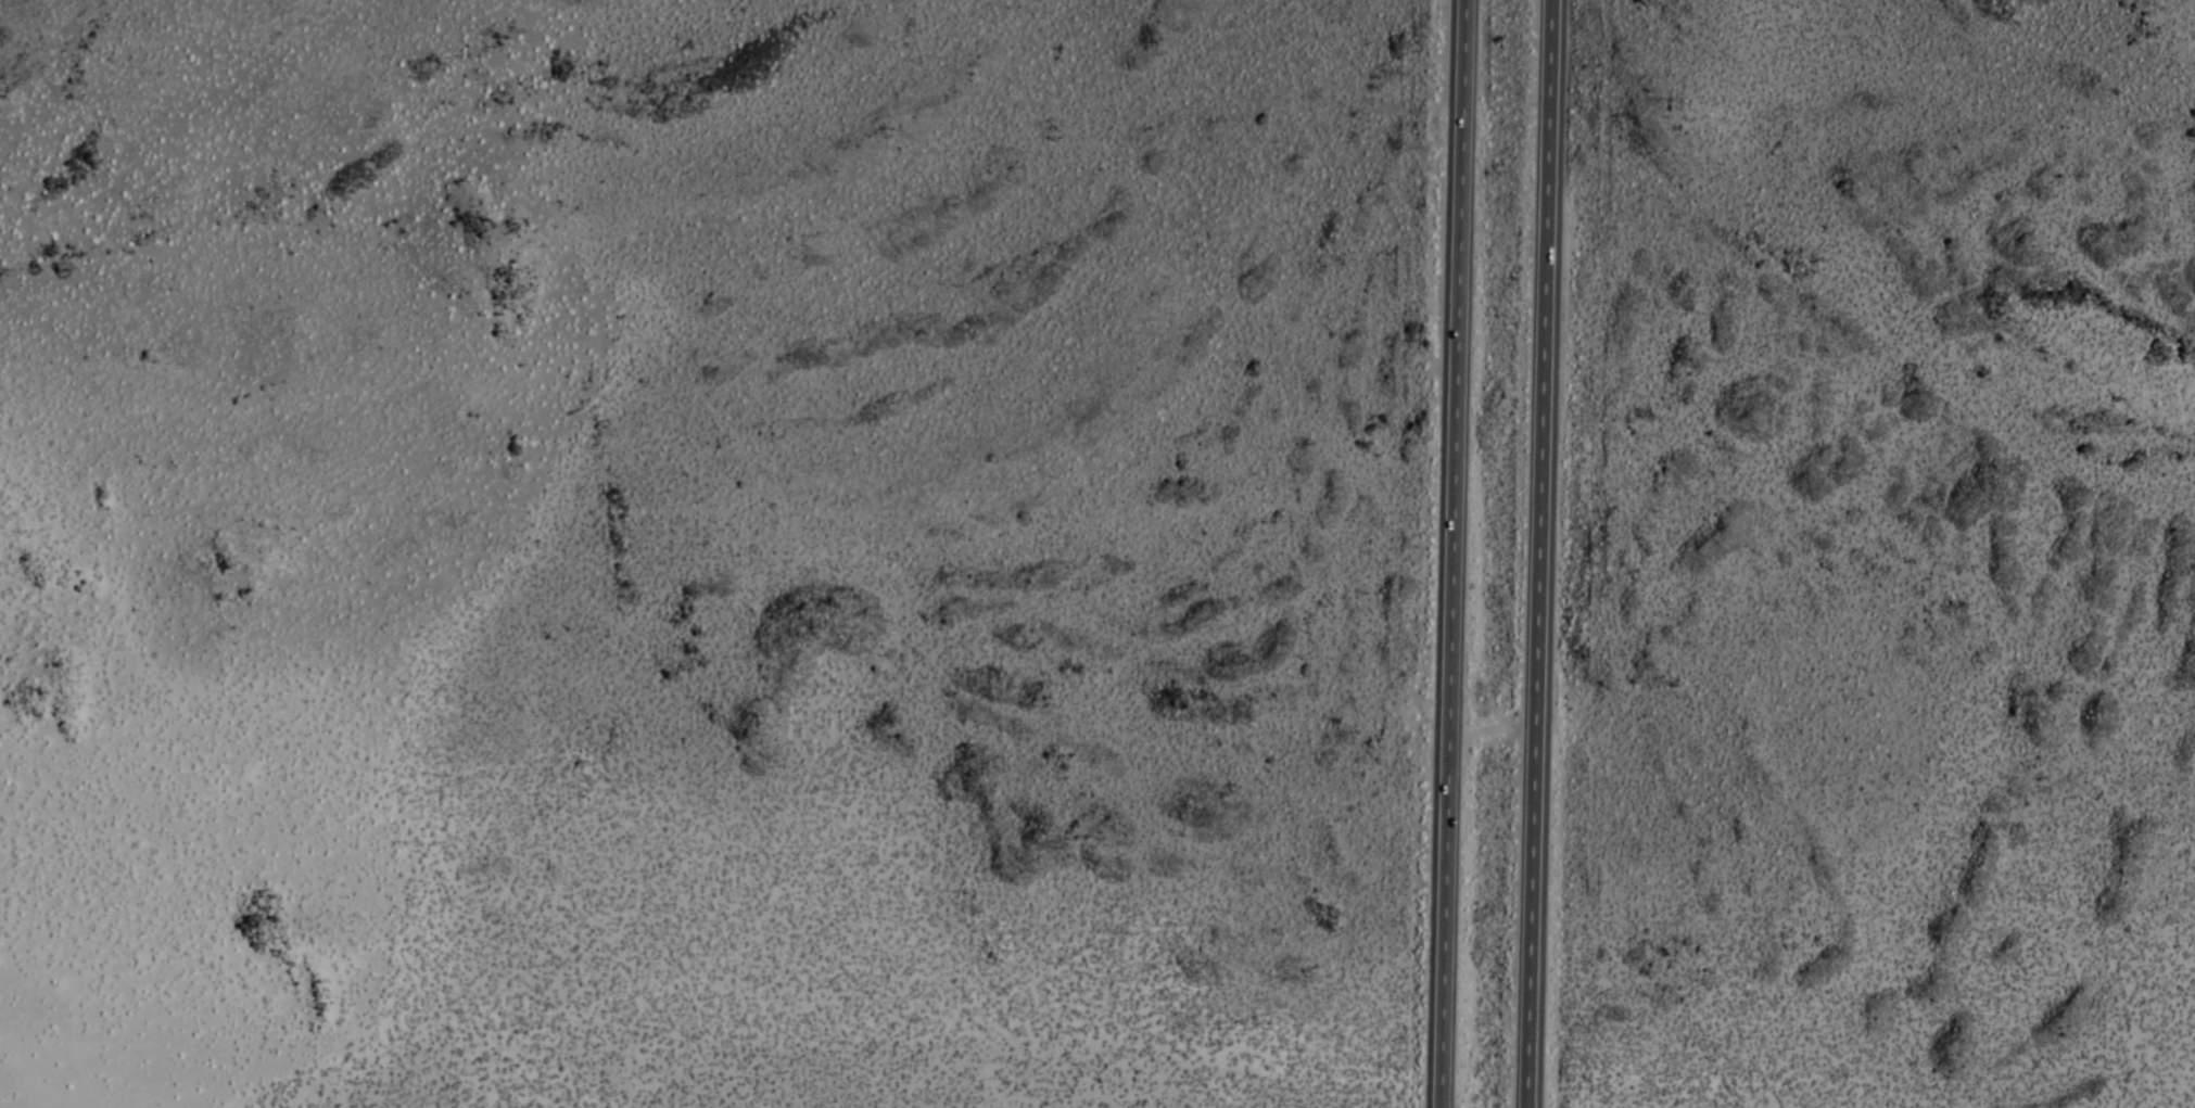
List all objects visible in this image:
road: (1451, 553)
road: (1540, 553)

